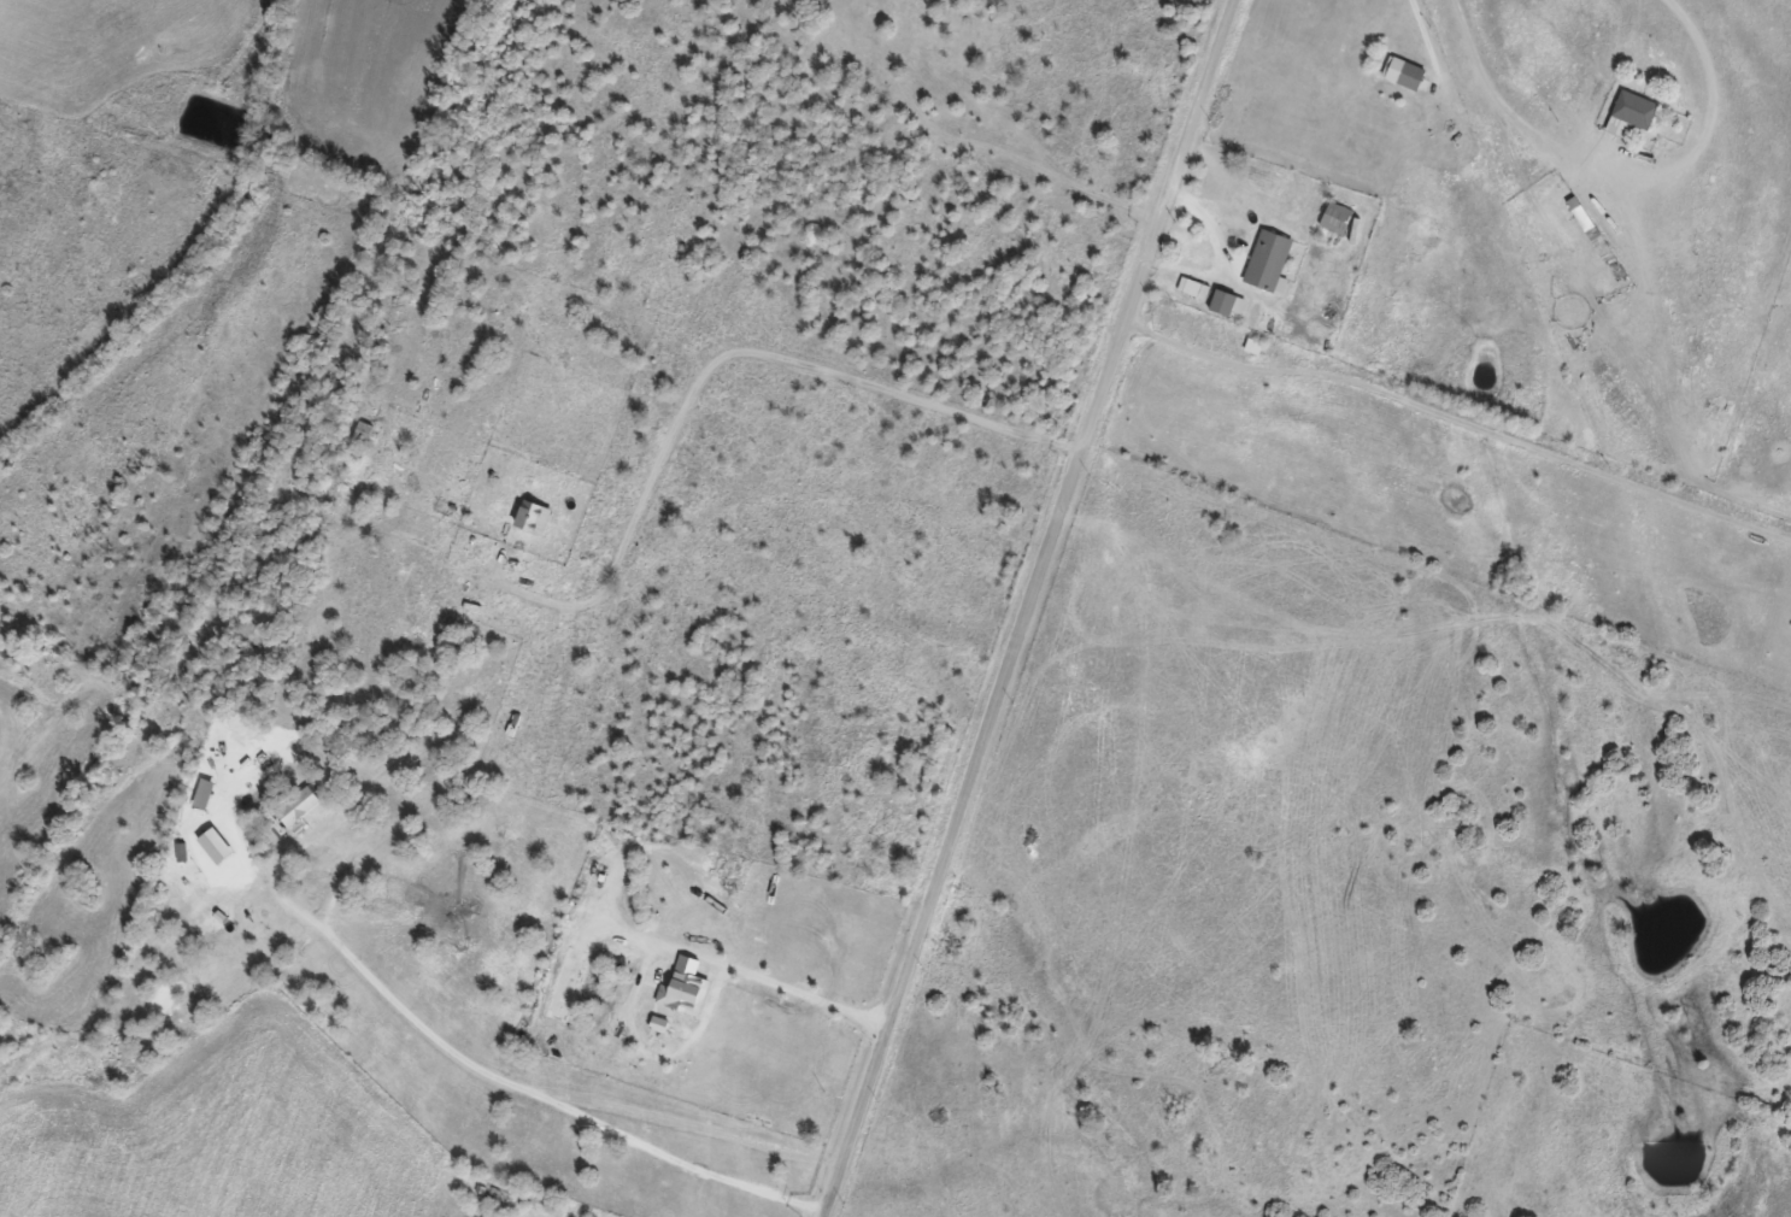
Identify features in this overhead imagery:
building: (1404, 72)
building: (1628, 113)
building: (1335, 218)
building: (1268, 261)
building: (1193, 288)
building: (1226, 302)
building: (364, 434)
building: (533, 516)
road: (1033, 607)
building: (298, 805)
building: (686, 992)

